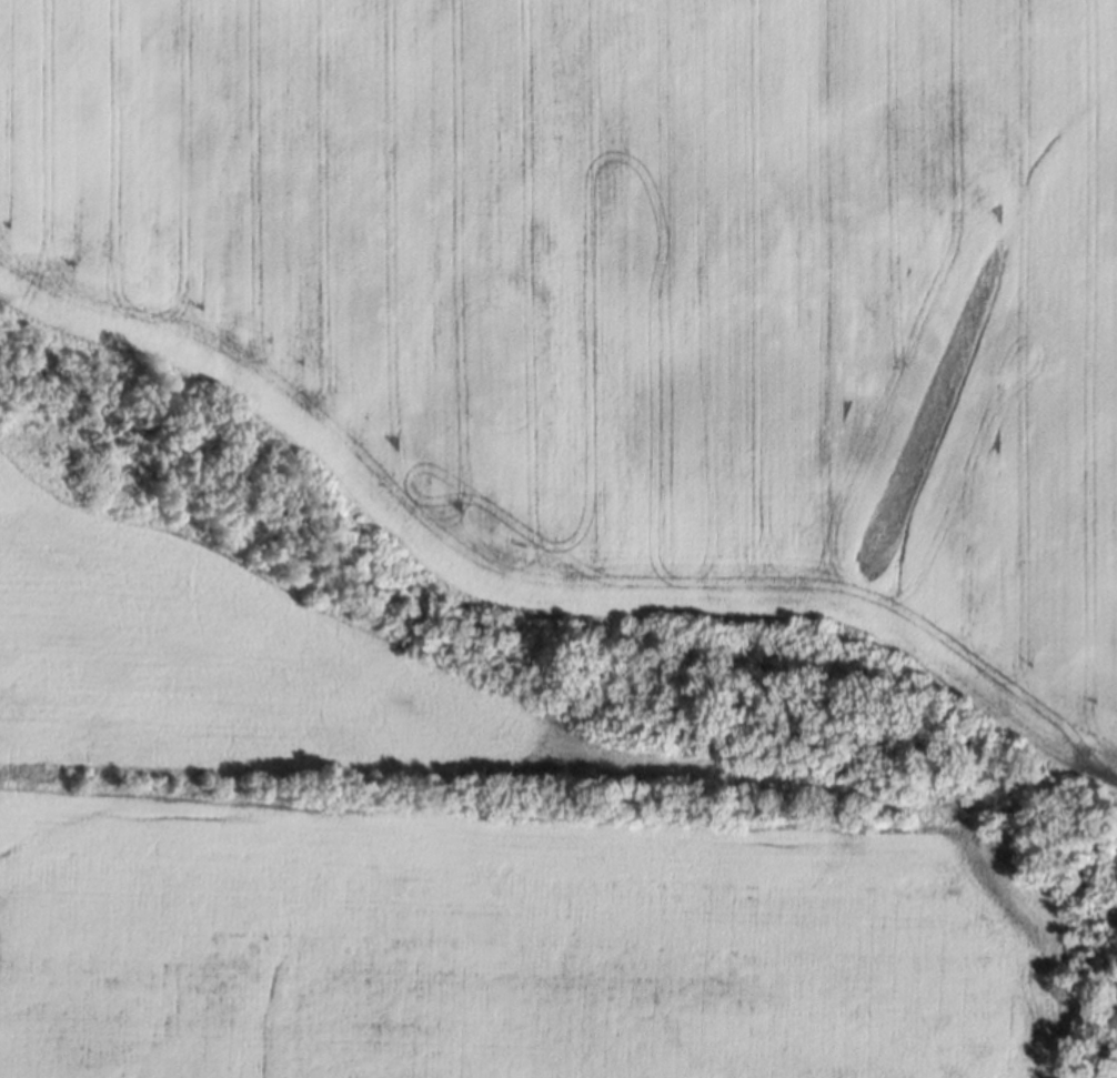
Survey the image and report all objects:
crop: (627, 296)

